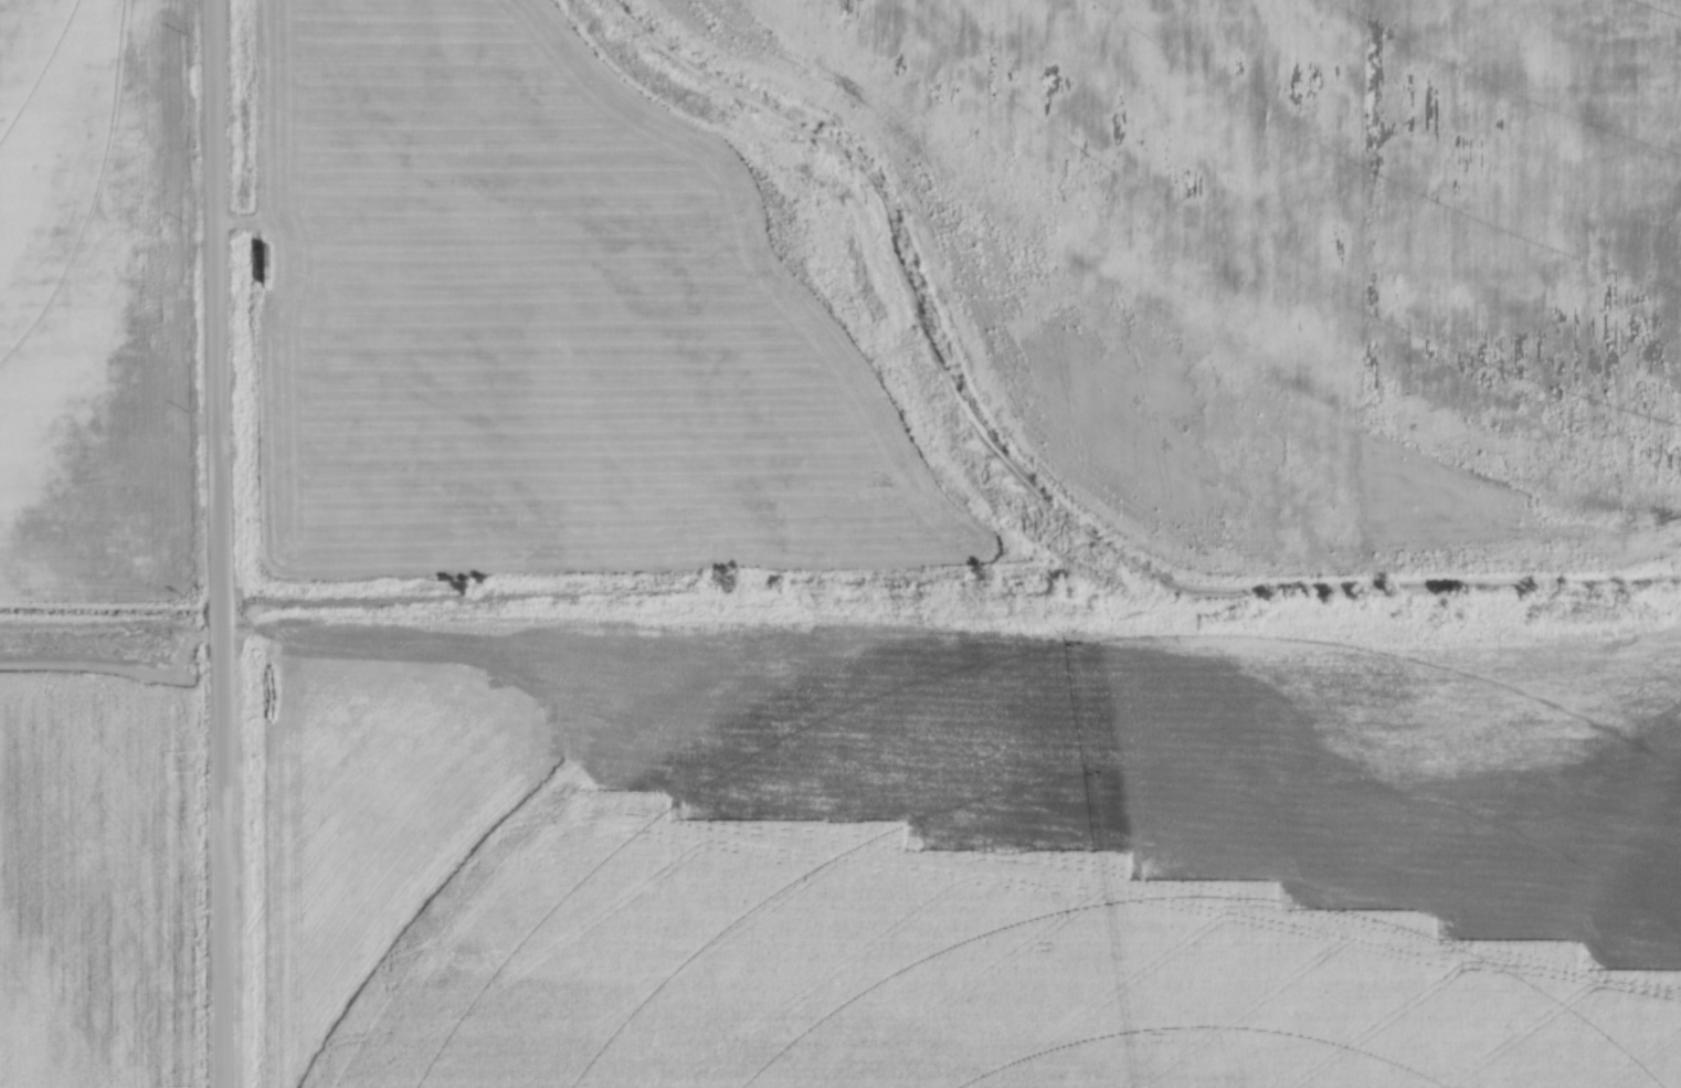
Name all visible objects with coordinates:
road: (221, 543)

